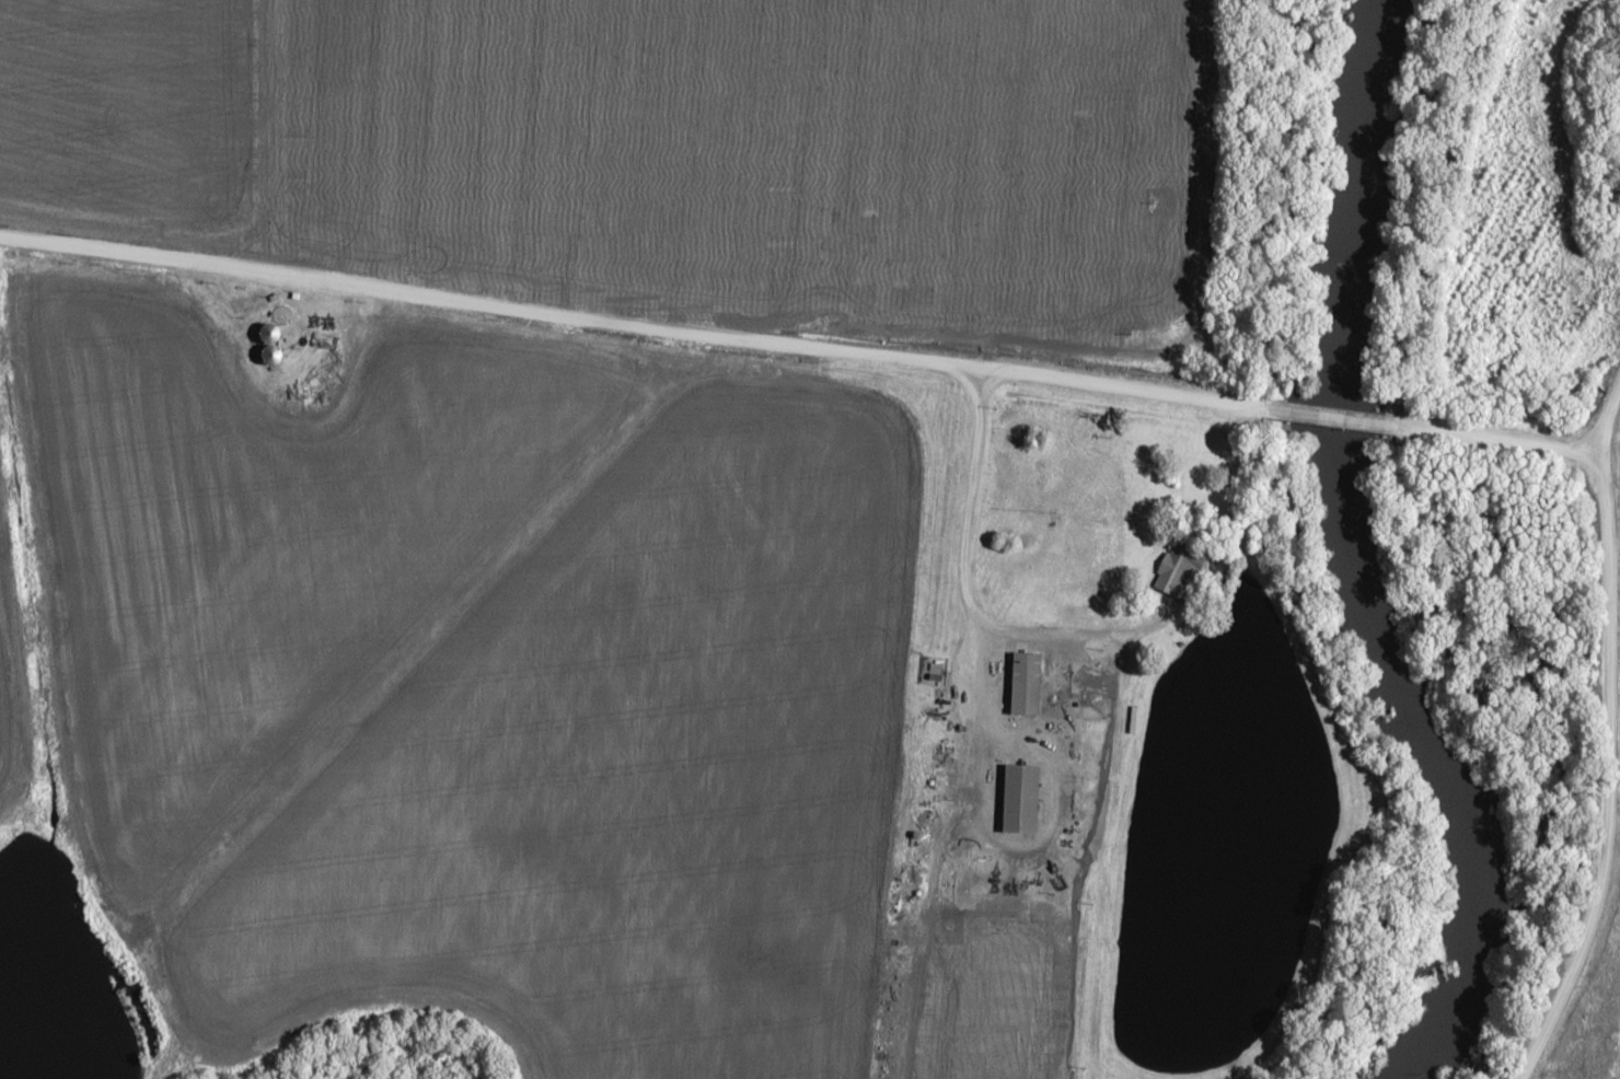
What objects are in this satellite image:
road: (629, 323)
building: (268, 332)
building: (1277, 410)
road: (1328, 415)
road: (1498, 439)
river: (1354, 558)
building: (1177, 568)
road: (970, 604)
building: (1020, 683)
road: (1608, 741)
building: (1016, 799)
building: (892, 938)

